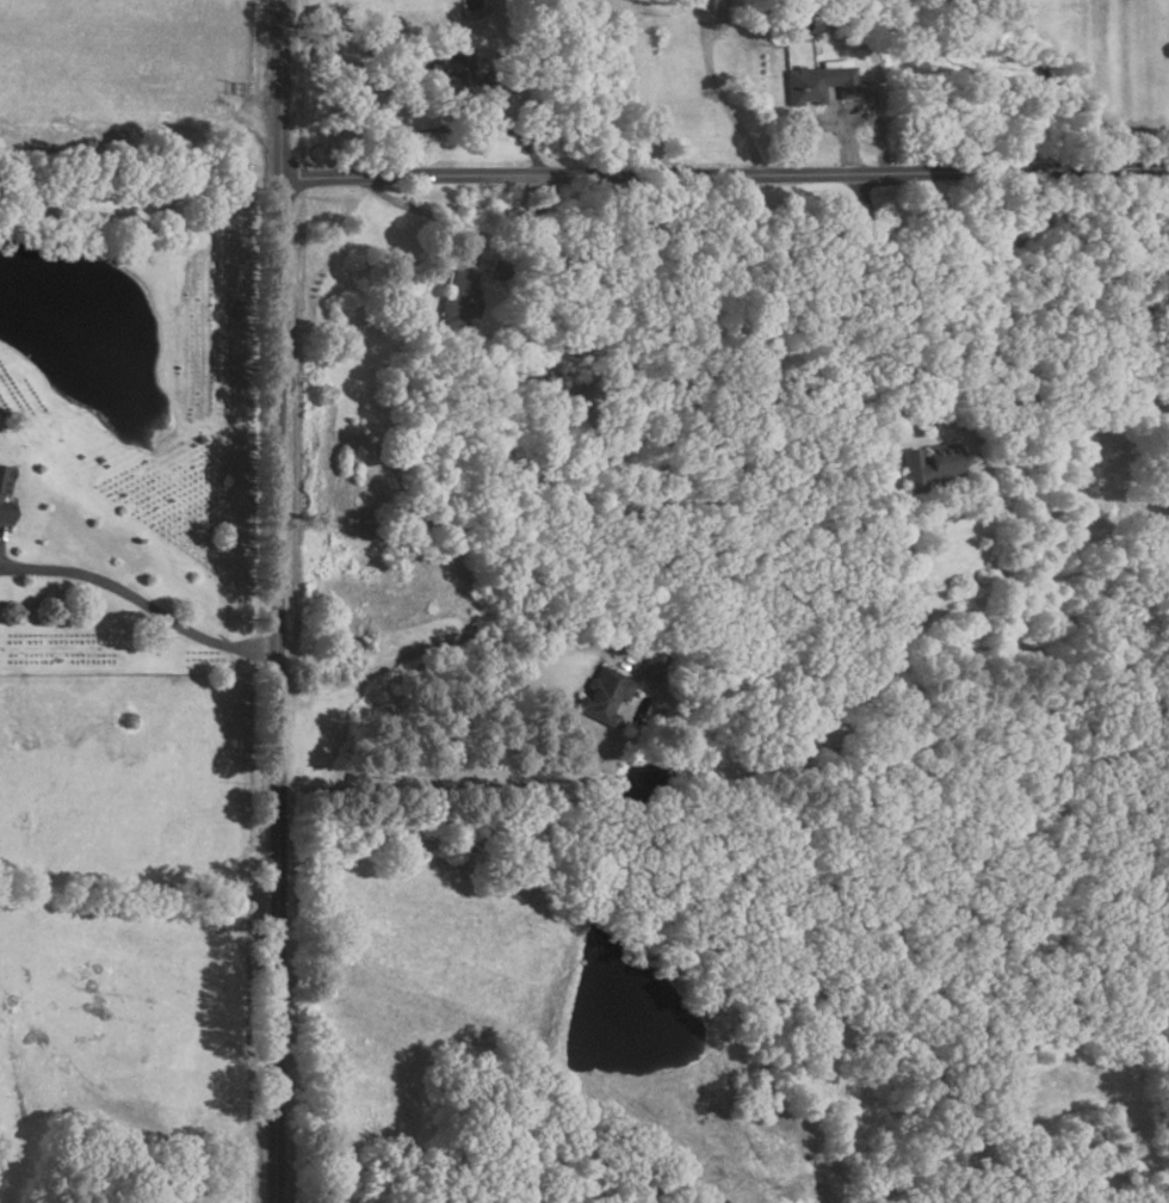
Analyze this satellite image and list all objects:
building: (703, 2)
building: (466, 79)
building: (823, 82)
road: (724, 104)
road: (514, 135)
road: (725, 177)
road: (428, 216)
building: (460, 304)
building: (929, 467)
building: (5, 494)
road: (276, 600)
road: (142, 607)
road: (452, 642)
building: (652, 666)
building: (604, 695)

